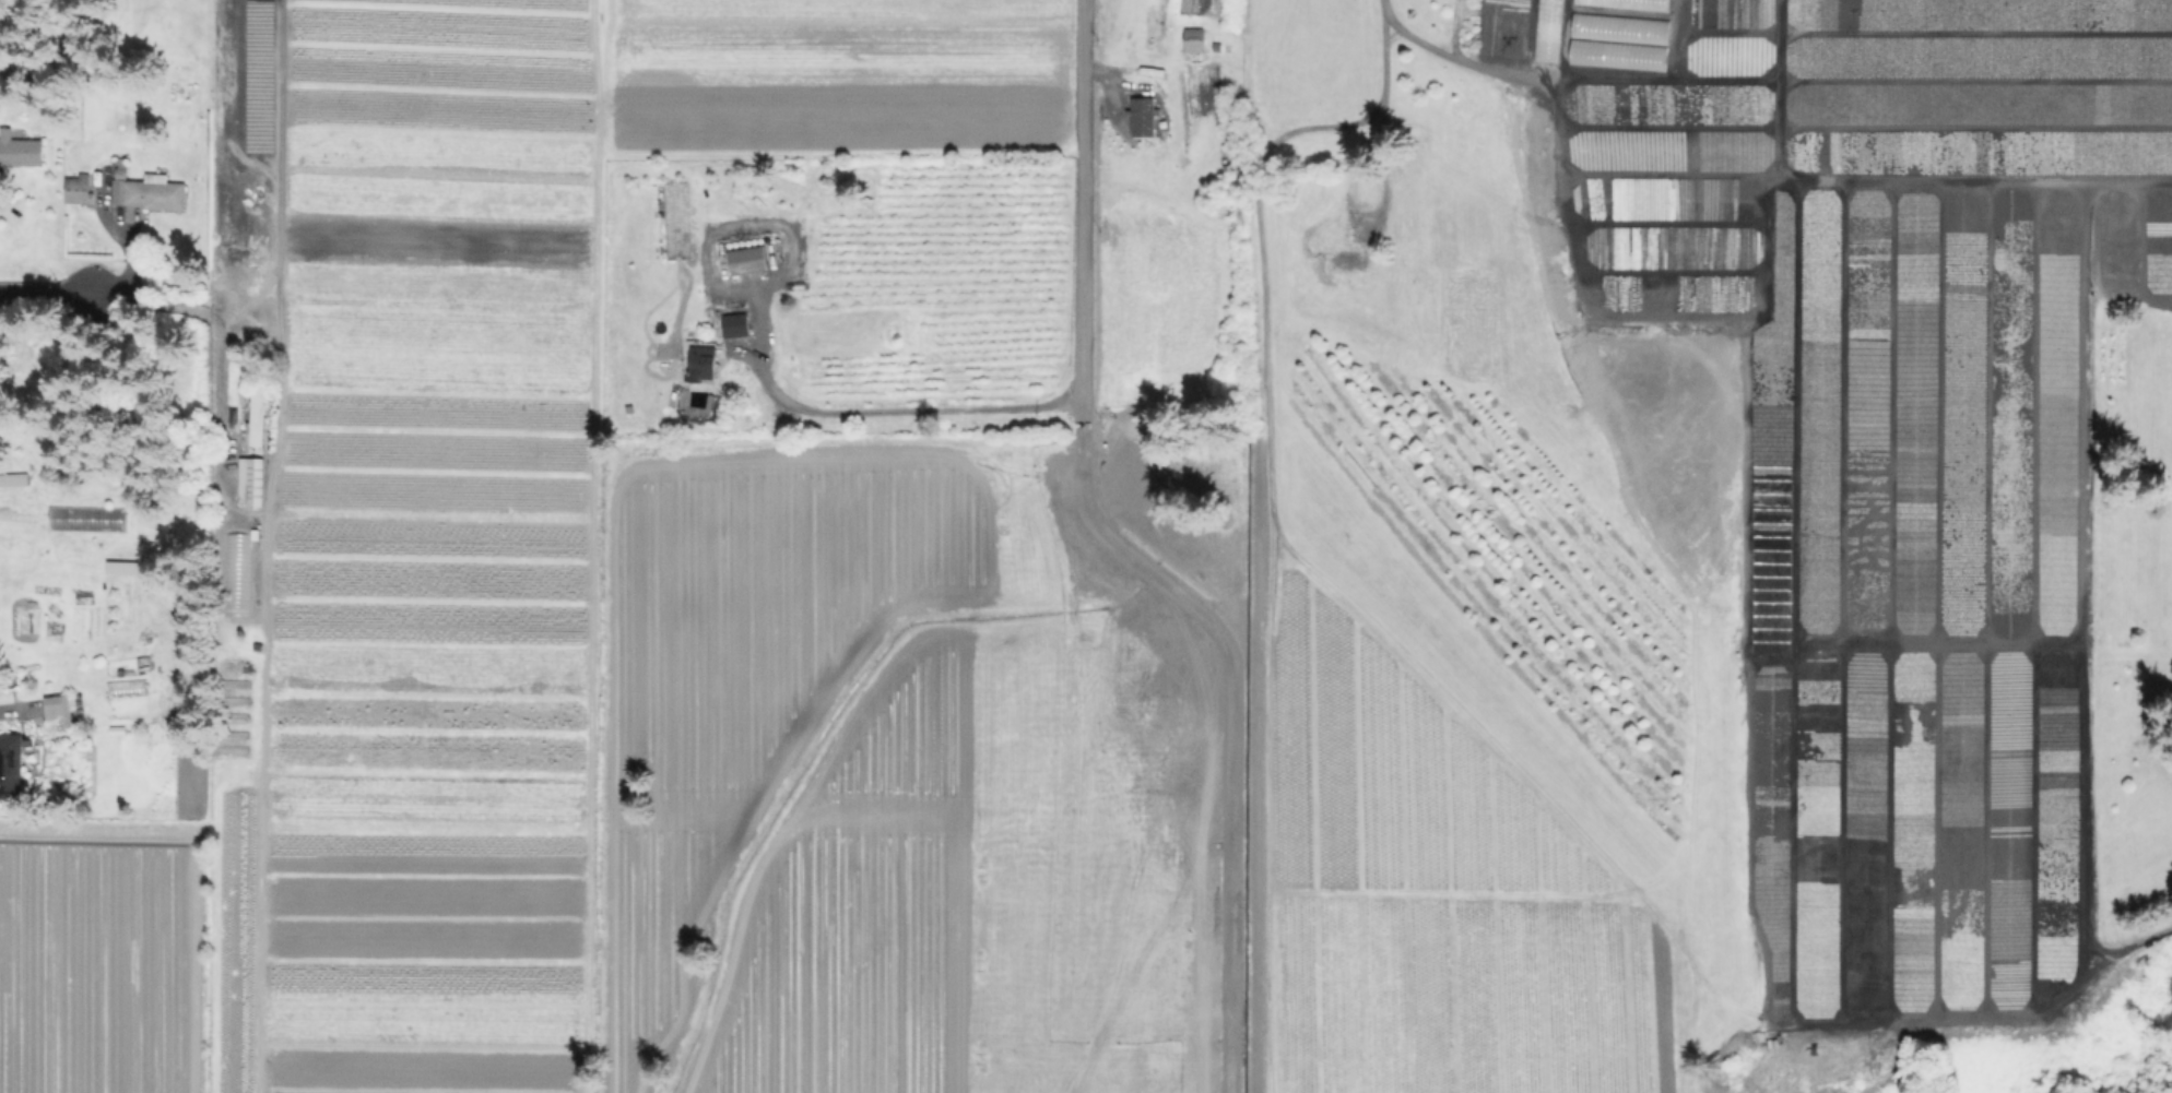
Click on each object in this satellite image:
building: (1634, 3)
building: (1620, 27)
building: (1550, 29)
building: (1191, 39)
road: (1437, 49)
building: (1619, 56)
road: (1377, 66)
road: (1555, 79)
building: (1141, 116)
building: (20, 150)
building: (79, 191)
building: (150, 192)
building: (681, 215)
road: (1360, 217)
building: (1350, 259)
building: (748, 261)
road: (45, 290)
road: (172, 308)
building: (735, 325)
building: (703, 365)
road: (884, 409)
building: (255, 417)
building: (1214, 471)
building: (12, 478)
building: (248, 480)
building: (1135, 534)
road: (1121, 560)
building: (120, 567)
building: (234, 571)
building: (125, 688)
building: (60, 712)
building: (11, 765)

